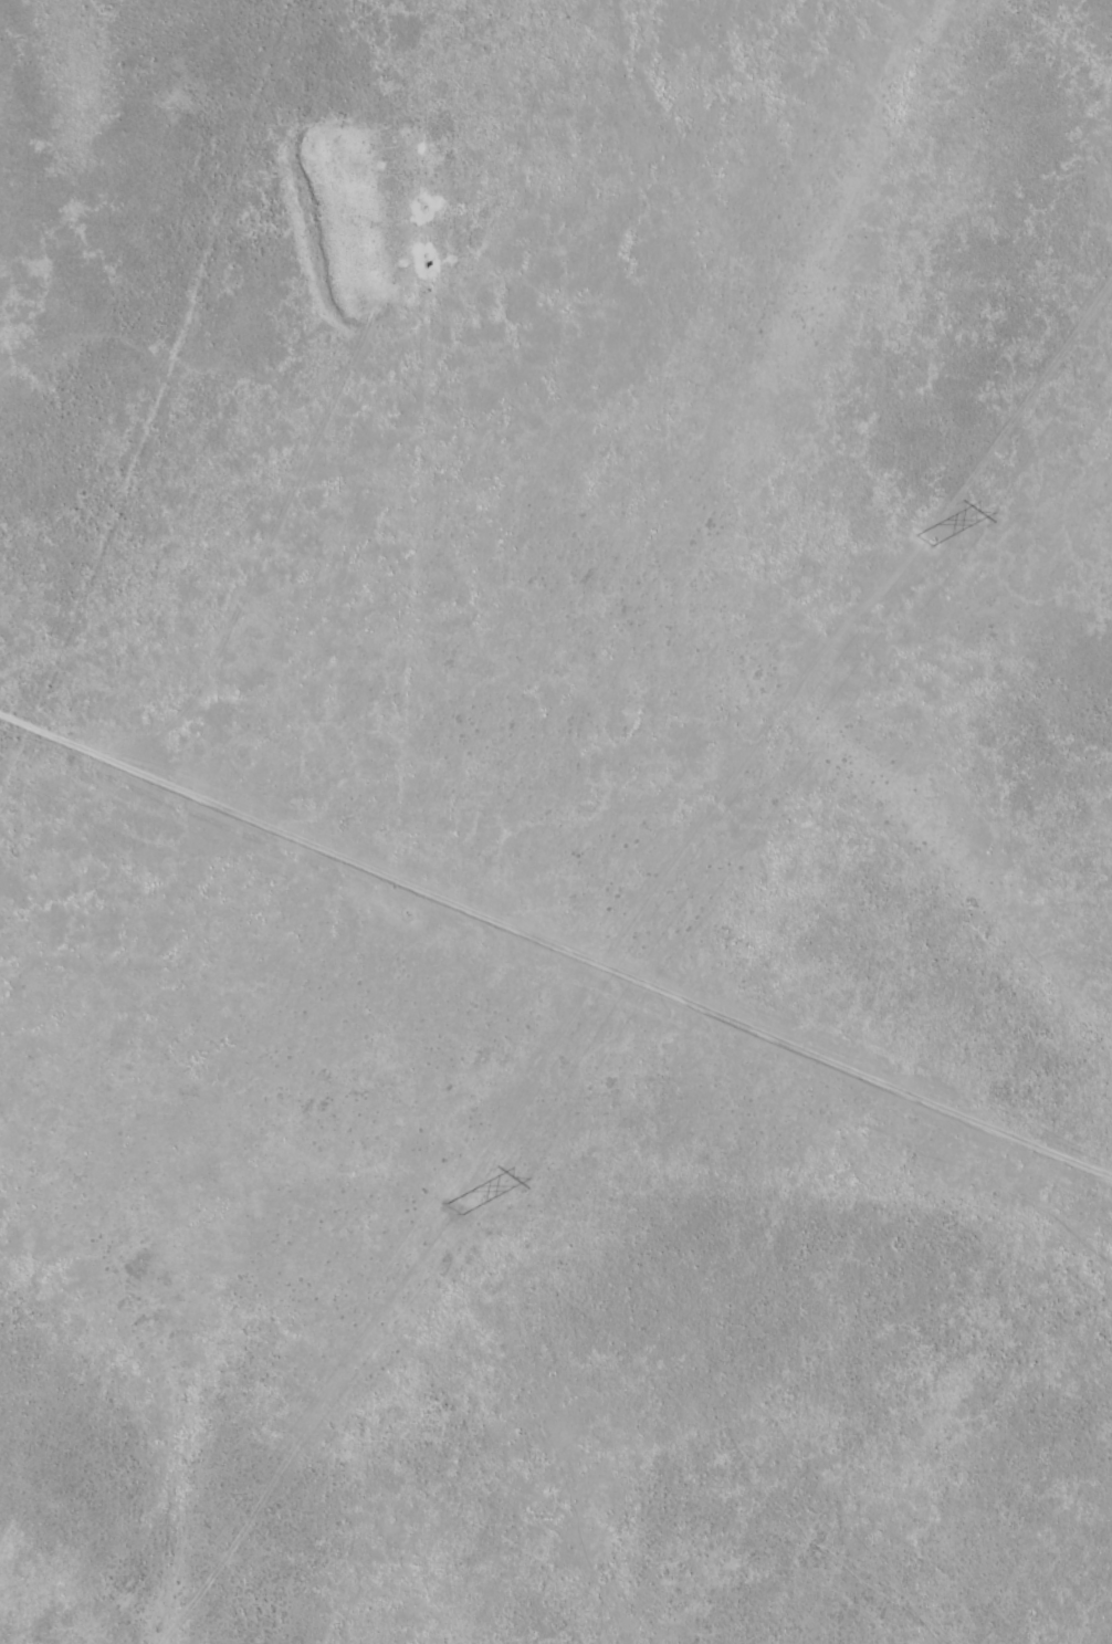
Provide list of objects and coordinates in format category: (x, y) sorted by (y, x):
power tower: (913, 546)
power tower: (447, 1211)

